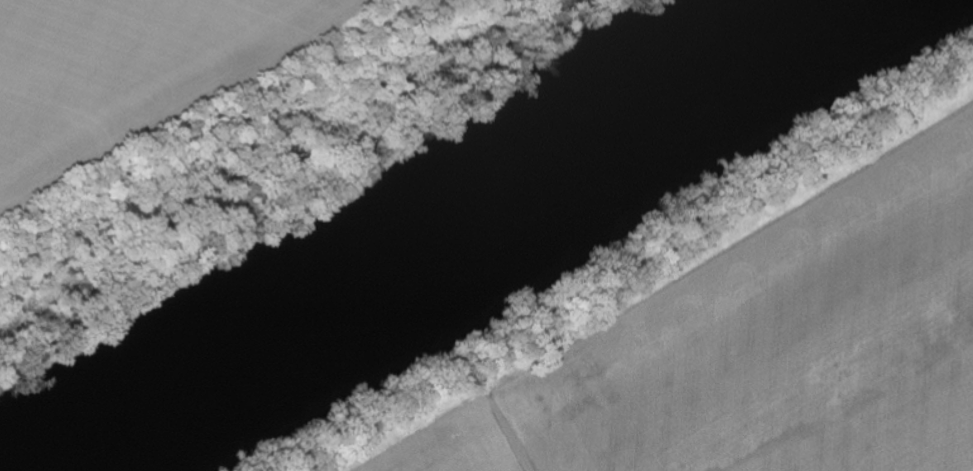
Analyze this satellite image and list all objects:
river: (400, 232)
road: (528, 467)

